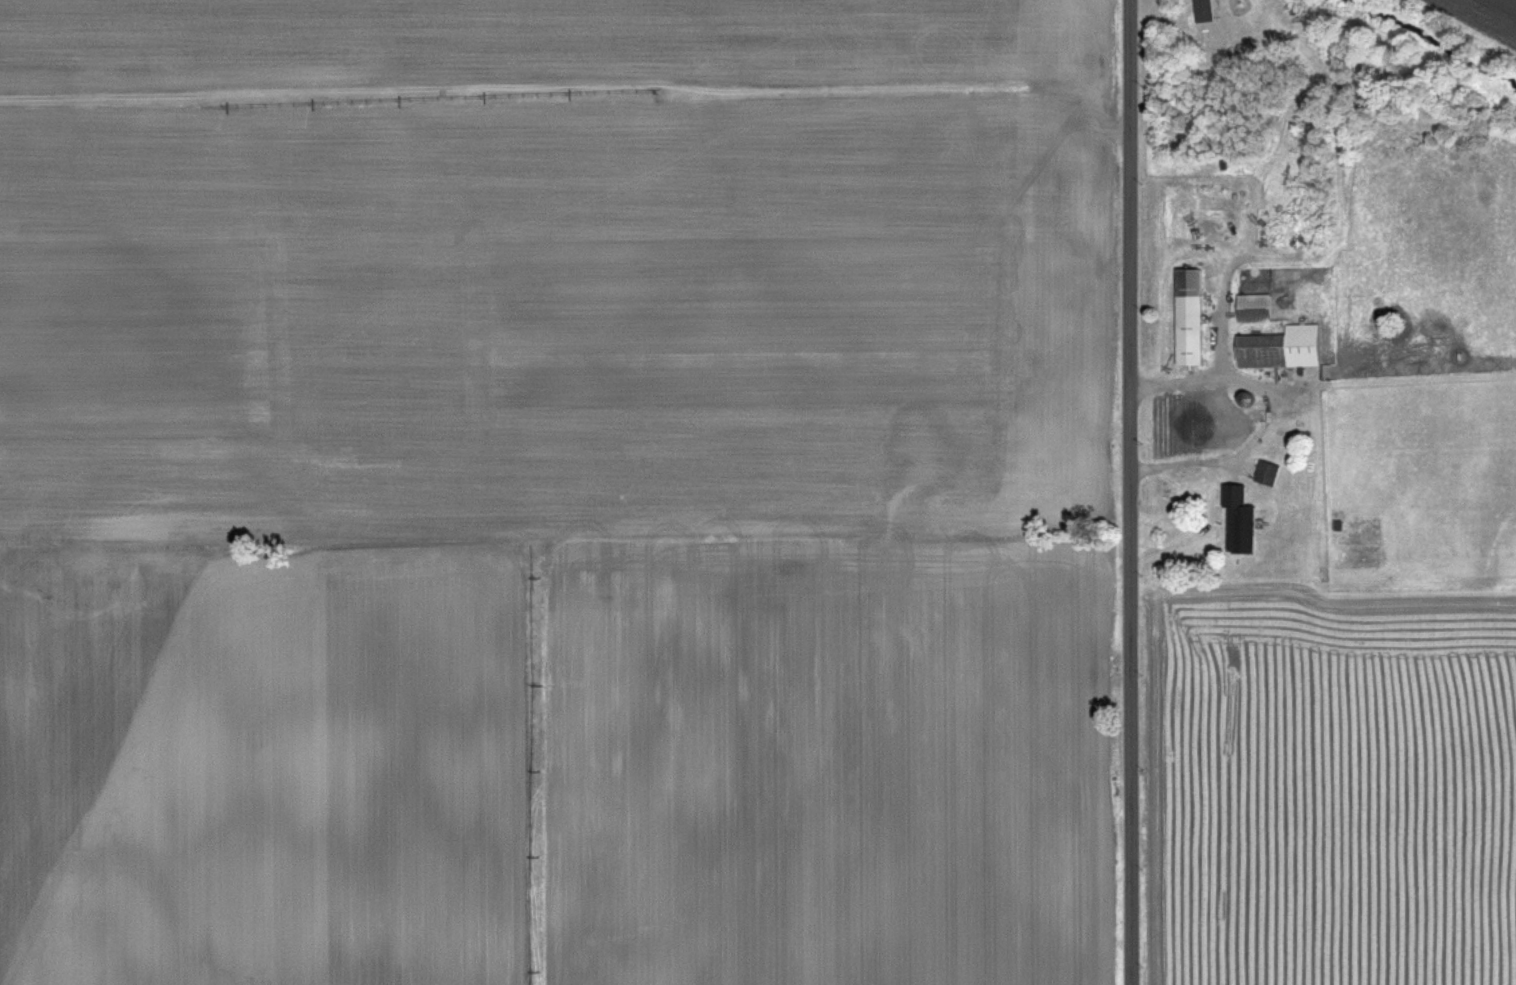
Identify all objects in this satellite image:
building: (1203, 10)
building: (1254, 306)
building: (1189, 316)
building: (1282, 346)
road: (1265, 413)
building: (1267, 472)
road: (1133, 492)
building: (1255, 513)

